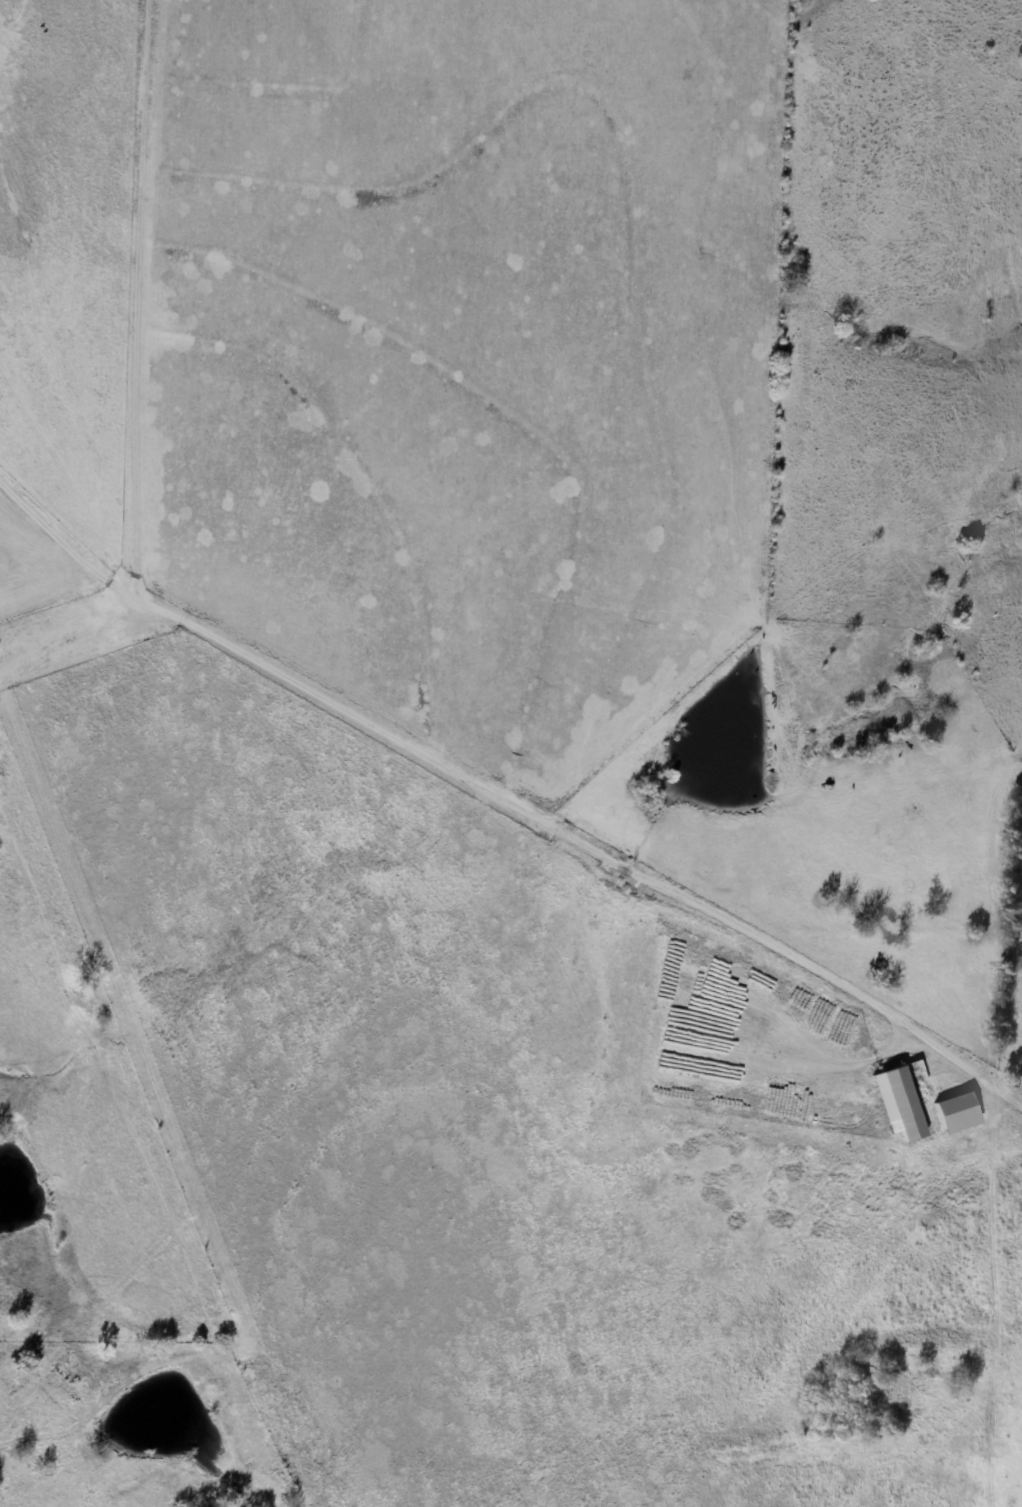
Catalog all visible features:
road: (111, 264)
road: (42, 519)
building: (904, 1105)
building: (957, 1114)
park: (891, 1395)

